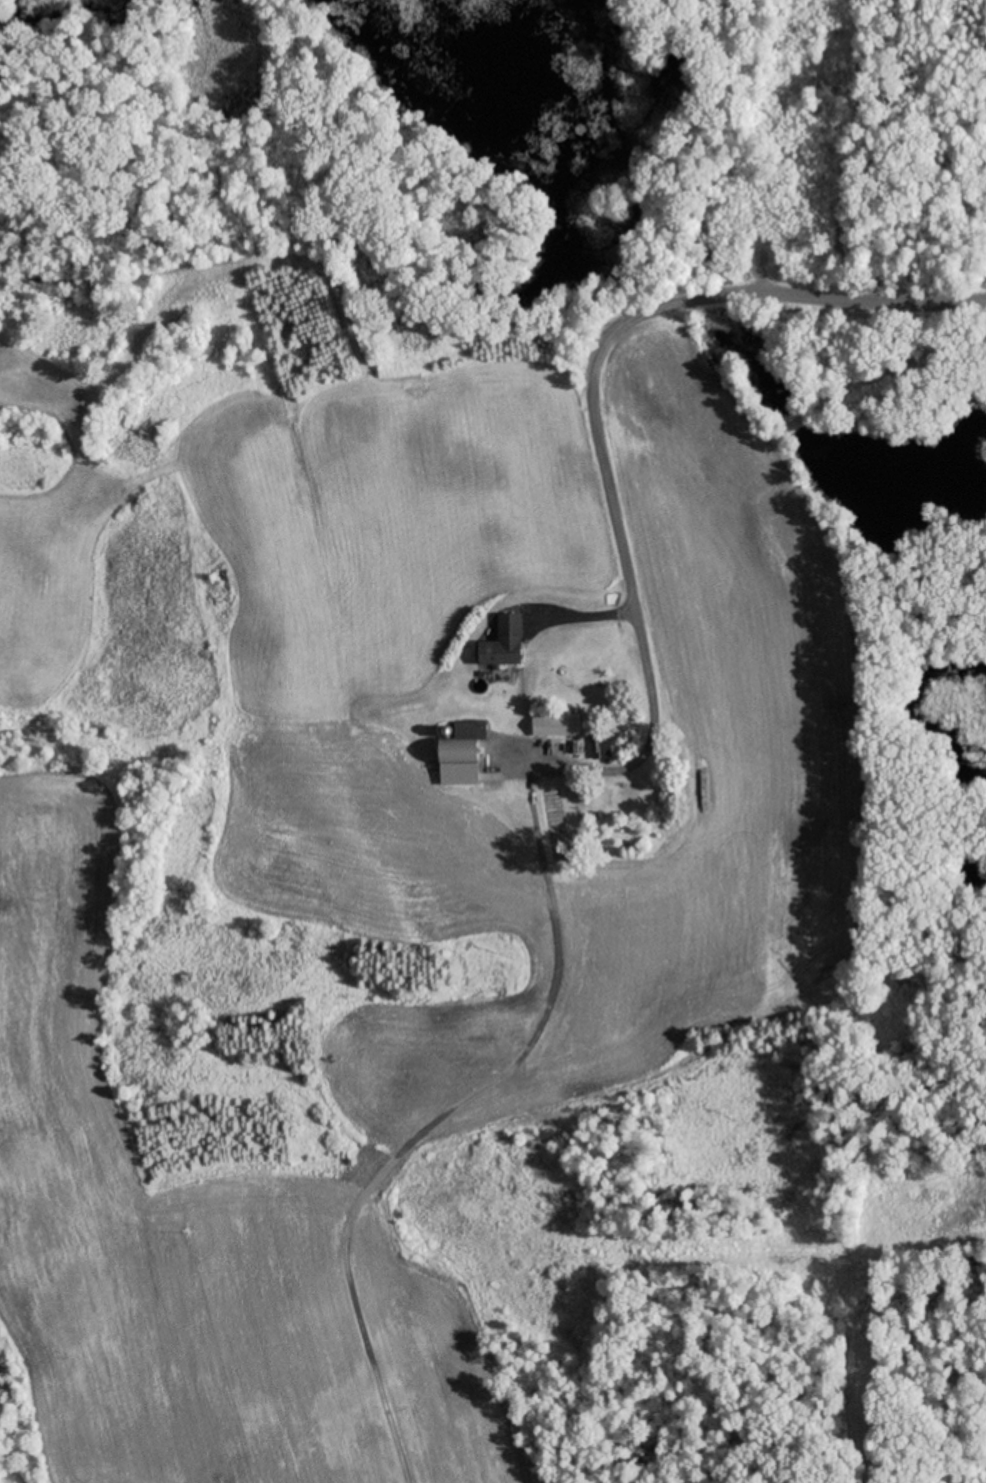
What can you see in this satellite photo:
road: (699, 152)
road: (608, 343)
building: (503, 643)
building: (555, 726)
building: (600, 748)
building: (460, 755)

